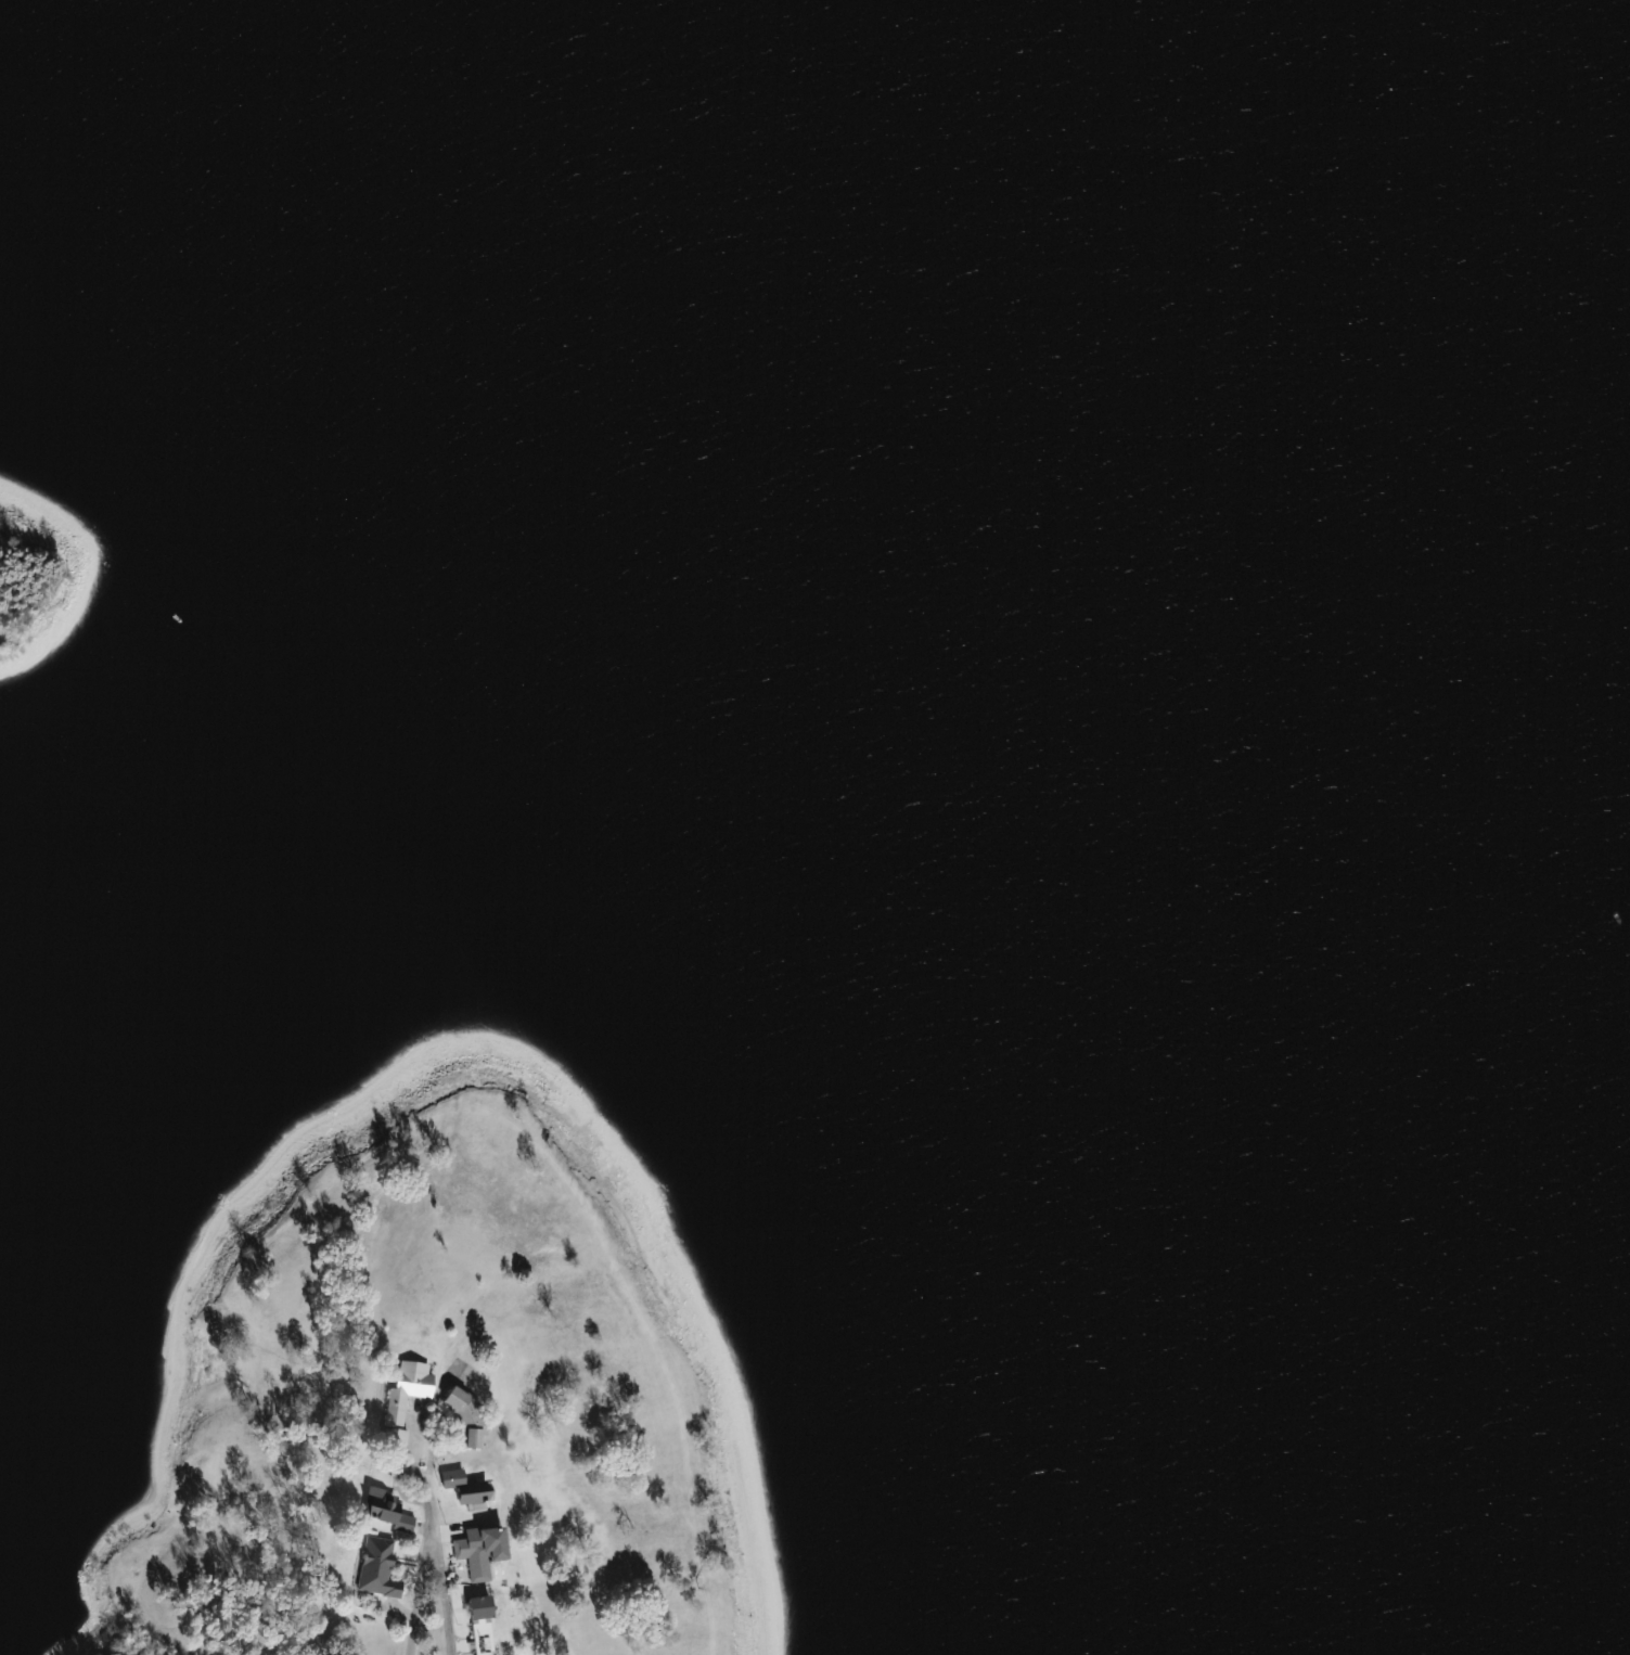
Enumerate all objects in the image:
river: (1447, 49)
building: (400, 1401)
building: (466, 1413)
road: (415, 1471)
building: (464, 1485)
building: (381, 1504)
building: (475, 1551)
building: (375, 1566)
road: (435, 1592)
road: (407, 1593)
building: (479, 1621)

